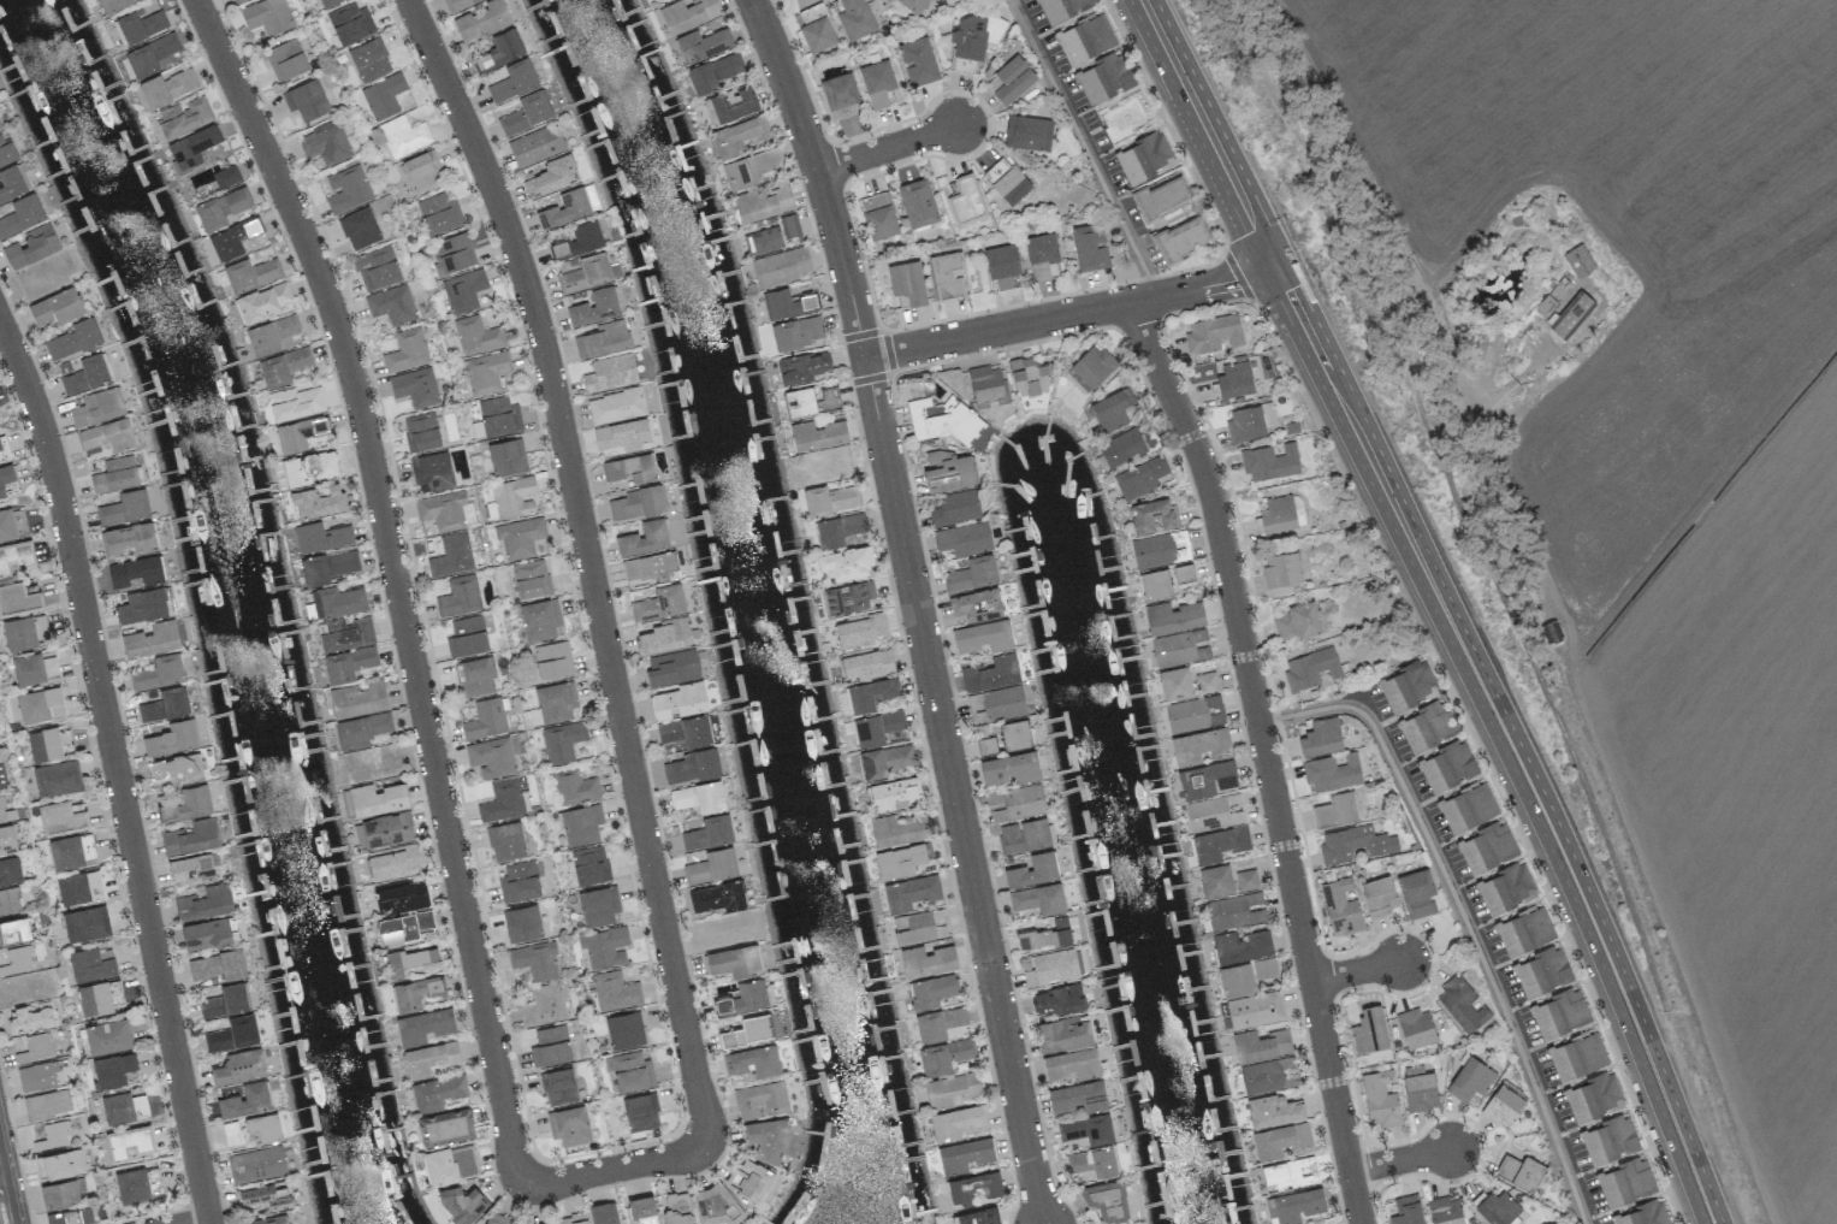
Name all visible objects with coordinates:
building: (659, 0)
building: (237, 1)
building: (328, 2)
building: (458, 4)
building: (114, 5)
building: (914, 5)
building: (1062, 8)
building: (687, 13)
building: (267, 16)
building: (855, 18)
building: (482, 20)
building: (350, 23)
building: (141, 25)
building: (816, 29)
building: (976, 35)
building: (1085, 39)
building: (701, 45)
building: (500, 51)
building: (285, 59)
building: (369, 59)
building: (918, 61)
building: (713, 72)
building: (1104, 78)
building: (1013, 79)
building: (514, 81)
building: (877, 83)
building: (167, 87)
building: (383, 96)
building: (841, 96)
building: (307, 100)
building: (730, 105)
building: (526, 113)
building: (184, 117)
building: (0, 128)
building: (1029, 132)
road: (1209, 135)
building: (399, 136)
building: (736, 136)
building: (325, 143)
building: (537, 144)
building: (192, 146)
road: (1086, 148)
building: (5, 150)
road: (891, 150)
building: (1144, 158)
building: (749, 168)
building: (422, 172)
building: (226, 176)
building: (552, 176)
road: (822, 176)
building: (1007, 181)
building: (12, 183)
building: (346, 189)
building: (1160, 199)
building: (875, 201)
building: (966, 201)
building: (763, 202)
building: (917, 203)
building: (223, 208)
building: (565, 208)
building: (439, 213)
building: (20, 214)
building: (881, 223)
building: (360, 229)
building: (776, 235)
building: (1181, 238)
building: (232, 240)
building: (579, 240)
building: (31, 247)
building: (1090, 247)
building: (452, 254)
building: (1042, 254)
building: (1578, 260)
building: (781, 266)
building: (1002, 266)
building: (377, 267)
traffic signals: (1278, 270)
building: (250, 273)
building: (585, 273)
building: (948, 277)
building: (908, 282)
building: (463, 290)
building: (263, 301)
building: (787, 303)
building: (391, 304)
building: (594, 307)
building: (54, 308)
building: (1564, 313)
road: (1073, 317)
building: (798, 332)
building: (1213, 333)
building: (272, 335)
building: (476, 335)
building: (73, 339)
building: (603, 339)
building: (405, 350)
building: (283, 366)
building: (802, 367)
building: (1091, 367)
building: (486, 371)
building: (610, 372)
building: (87, 374)
building: (1029, 376)
building: (1234, 379)
building: (988, 384)
building: (415, 386)
building: (811, 401)
building: (295, 402)
building: (616, 406)
building: (97, 407)
building: (1112, 409)
building: (498, 416)
building: (940, 419)
building: (1250, 421)
building: (421, 432)
crop: (1667, 432)
building: (300, 433)
building: (623, 434)
building: (818, 434)
building: (107, 436)
building: (1127, 444)
building: (2, 449)
building: (506, 457)
building: (1269, 462)
building: (309, 467)
building: (629, 468)
building: (948, 471)
building: (432, 472)
building: (115, 474)
building: (1142, 475)
building: (6, 480)
building: (514, 496)
building: (830, 498)
building: (318, 501)
building: (638, 503)
building: (125, 507)
building: (955, 508)
building: (442, 510)
building: (1278, 514)
building: (1152, 515)
building: (6, 525)
building: (840, 528)
building: (321, 537)
building: (518, 537)
building: (129, 538)
building: (645, 538)
building: (964, 538)
building: (1154, 550)
building: (452, 555)
building: (17, 557)
road: (592, 563)
building: (845, 563)
building: (330, 566)
building: (650, 567)
building: (1281, 569)
building: (136, 572)
building: (1184, 573)
building: (971, 574)
building: (531, 579)
road: (399, 581)
building: (1155, 585)
building: (460, 596)
building: (848, 597)
building: (18, 599)
building: (337, 601)
building: (659, 603)
building: (976, 603)
building: (142, 605)
building: (1173, 616)
building: (539, 619)
building: (1298, 622)
building: (861, 631)
building: (24, 632)
building: (346, 633)
building: (467, 637)
building: (665, 637)
building: (983, 637)
building: (152, 639)
building: (1180, 648)
building: (552, 660)
building: (349, 663)
building: (867, 664)
building: (672, 668)
building: (1310, 668)
building: (28, 669)
building: (159, 672)
building: (991, 673)
building: (475, 676)
building: (1175, 682)
building: (1205, 682)
building: (1408, 686)
building: (871, 693)
building: (358, 698)
building: (680, 700)
building: (556, 702)
building: (1003, 702)
building: (40, 704)
building: (166, 705)
building: (1187, 715)
building: (485, 720)
building: (1428, 726)
building: (877, 727)
building: (361, 731)
building: (686, 731)
building: (1015, 734)
building: (1321, 737)
building: (171, 738)
building: (562, 741)
building: (49, 744)
building: (1199, 746)
road: (1486, 746)
building: (491, 757)
road: (1263, 758)
building: (884, 761)
road: (118, 765)
building: (689, 767)
building: (1447, 767)
building: (177, 768)
building: (1009, 768)
building: (1332, 770)
building: (1, 776)
building: (57, 777)
building: (1207, 779)
building: (573, 786)
road: (958, 792)
building: (895, 793)
building: (699, 797)
building: (377, 799)
building: (502, 800)
building: (194, 802)
building: (1017, 803)
building: (1468, 808)
building: (1335, 810)
building: (1, 811)
building: (1208, 814)
building: (64, 816)
building: (581, 824)
building: (899, 828)
building: (386, 829)
building: (709, 833)
building: (1024, 835)
building: (192, 836)
building: (7, 839)
building: (505, 841)
building: (1219, 844)
building: (1353, 844)
building: (1487, 847)
building: (72, 851)
building: (900, 861)
building: (391, 863)
building: (589, 865)
building: (712, 867)
building: (191, 868)
building: (10, 870)
building: (1032, 870)
building: (1246, 879)
building: (1216, 880)
building: (518, 881)
building: (79, 887)
building: (1505, 887)
building: (911, 892)
building: (1417, 892)
building: (1379, 895)
building: (717, 897)
building: (398, 898)
building: (1038, 899)
building: (8, 900)
building: (206, 903)
building: (1340, 905)
building: (598, 906)
building: (1235, 910)
road: (1459, 913)
building: (85, 923)
building: (522, 923)
building: (405, 927)
building: (918, 927)
building: (13, 930)
building: (1525, 930)
building: (206, 933)
building: (1045, 936)
building: (1240, 945)
building: (605, 946)
building: (535, 959)
building: (16, 960)
building: (409, 960)
building: (735, 960)
building: (928, 960)
building: (90, 964)
building: (218, 965)
building: (1051, 968)
building: (1264, 968)
building: (1542, 971)
road: (1358, 974)
building: (1235, 978)
building: (931, 989)
building: (612, 991)
building: (416, 992)
building: (743, 998)
building: (94, 999)
building: (1057, 999)
building: (225, 1000)
building: (1460, 1004)
building: (543, 1005)
building: (1255, 1010)
building: (1559, 1012)
building: (32, 1016)
building: (941, 1023)
building: (423, 1025)
building: (1416, 1027)
building: (748, 1029)
building: (1369, 1029)
building: (624, 1030)
building: (1063, 1033)
building: (232, 1034)
building: (107, 1036)
building: (1261, 1045)
building: (550, 1046)
building: (31, 1047)
building: (944, 1056)
building: (1577, 1056)
building: (428, 1058)
building: (753, 1060)
building: (1072, 1064)
building: (239, 1066)
building: (113, 1070)
building: (632, 1071)
building: (1268, 1075)
building: (37, 1076)
building: (1470, 1080)
building: (558, 1087)
building: (950, 1088)
building: (1418, 1088)
building: (438, 1092)
building: (1078, 1096)
building: (1593, 1096)
building: (760, 1099)
building: (1380, 1099)
building: (245, 1100)
building: (1503, 1105)
building: (123, 1107)
building: (1273, 1110)
building: (641, 1112)
building: (956, 1122)
building: (569, 1125)
building: (263, 1127)
building: (445, 1127)
building: (1086, 1129)
building: (231, 1133)
building: (52, 1136)
building: (766, 1137)
building: (1610, 1139)
building: (1281, 1140)
building: (130, 1141)
building: (965, 1154)
building: (1094, 1161)
road: (1404, 1161)
building: (60, 1163)
building: (256, 1164)
building: (450, 1164)
road: (616, 1167)
building: (1521, 1171)
building: (1286, 1173)
road: (2, 1181)
building: (752, 1182)
building: (1625, 1182)
building: (135, 1185)
building: (973, 1187)
road: (6, 1190)
building: (61, 1193)
building: (267, 1195)
building: (1106, 1200)
building: (462, 1202)
building: (715, 1204)
building: (1294, 1205)
park: (5, 1206)
building: (1495, 1207)
building: (677, 1208)
building: (642, 1210)
building: (1406, 1210)
building: (1445, 1211)
building: (603, 1213)
building: (1643, 1213)
building: (71, 1216)
building: (978, 1217)
building: (498, 1218)
building: (571, 1219)
building: (269, 1220)
road: (201, 1222)
building: (549, 1223)

